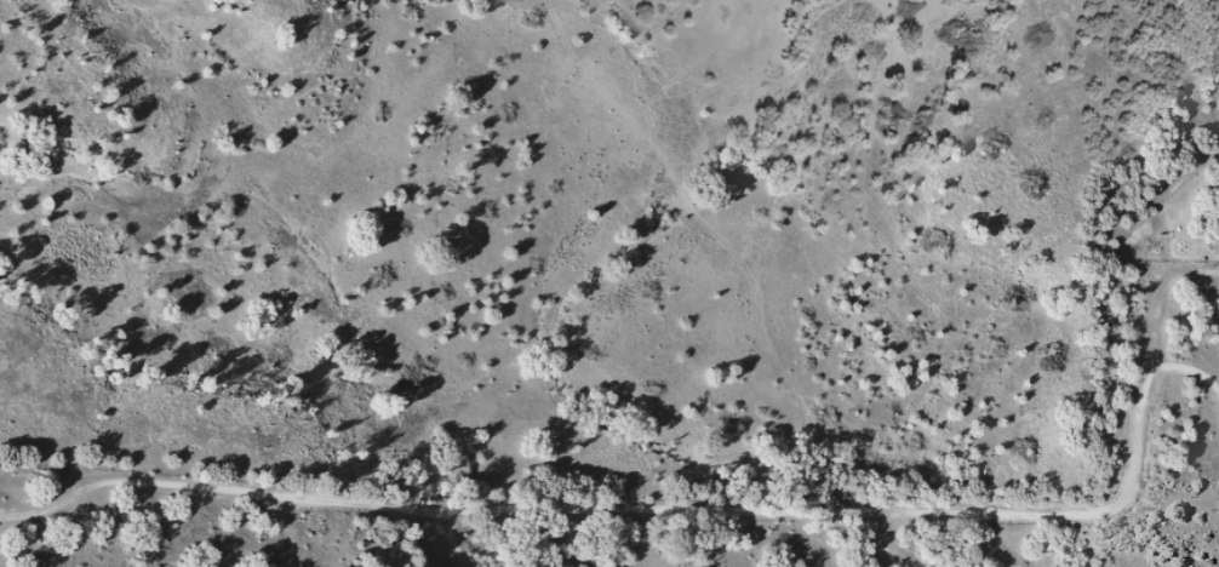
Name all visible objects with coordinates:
building: (1214, 188)

